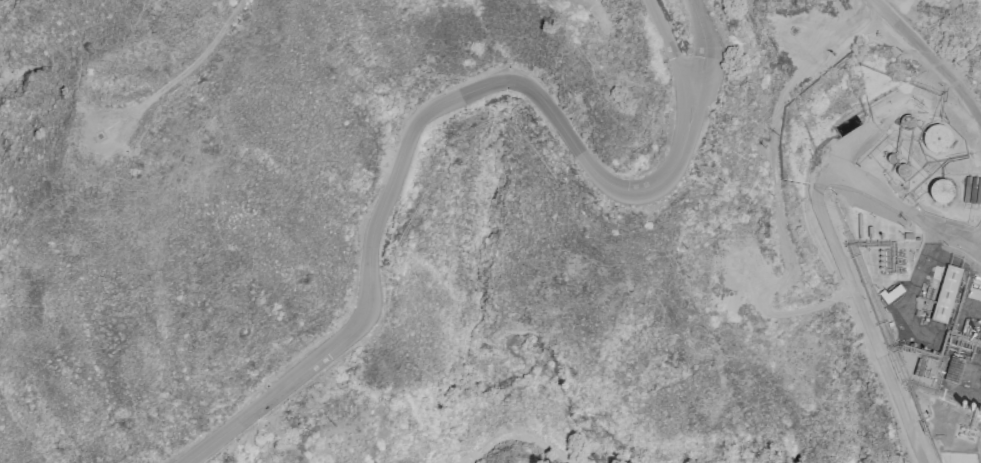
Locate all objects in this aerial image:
road: (671, 44)
road: (708, 44)
road: (930, 56)
road: (204, 59)
road: (412, 133)
road: (87, 142)
road: (786, 238)
road: (833, 240)
building: (946, 294)

